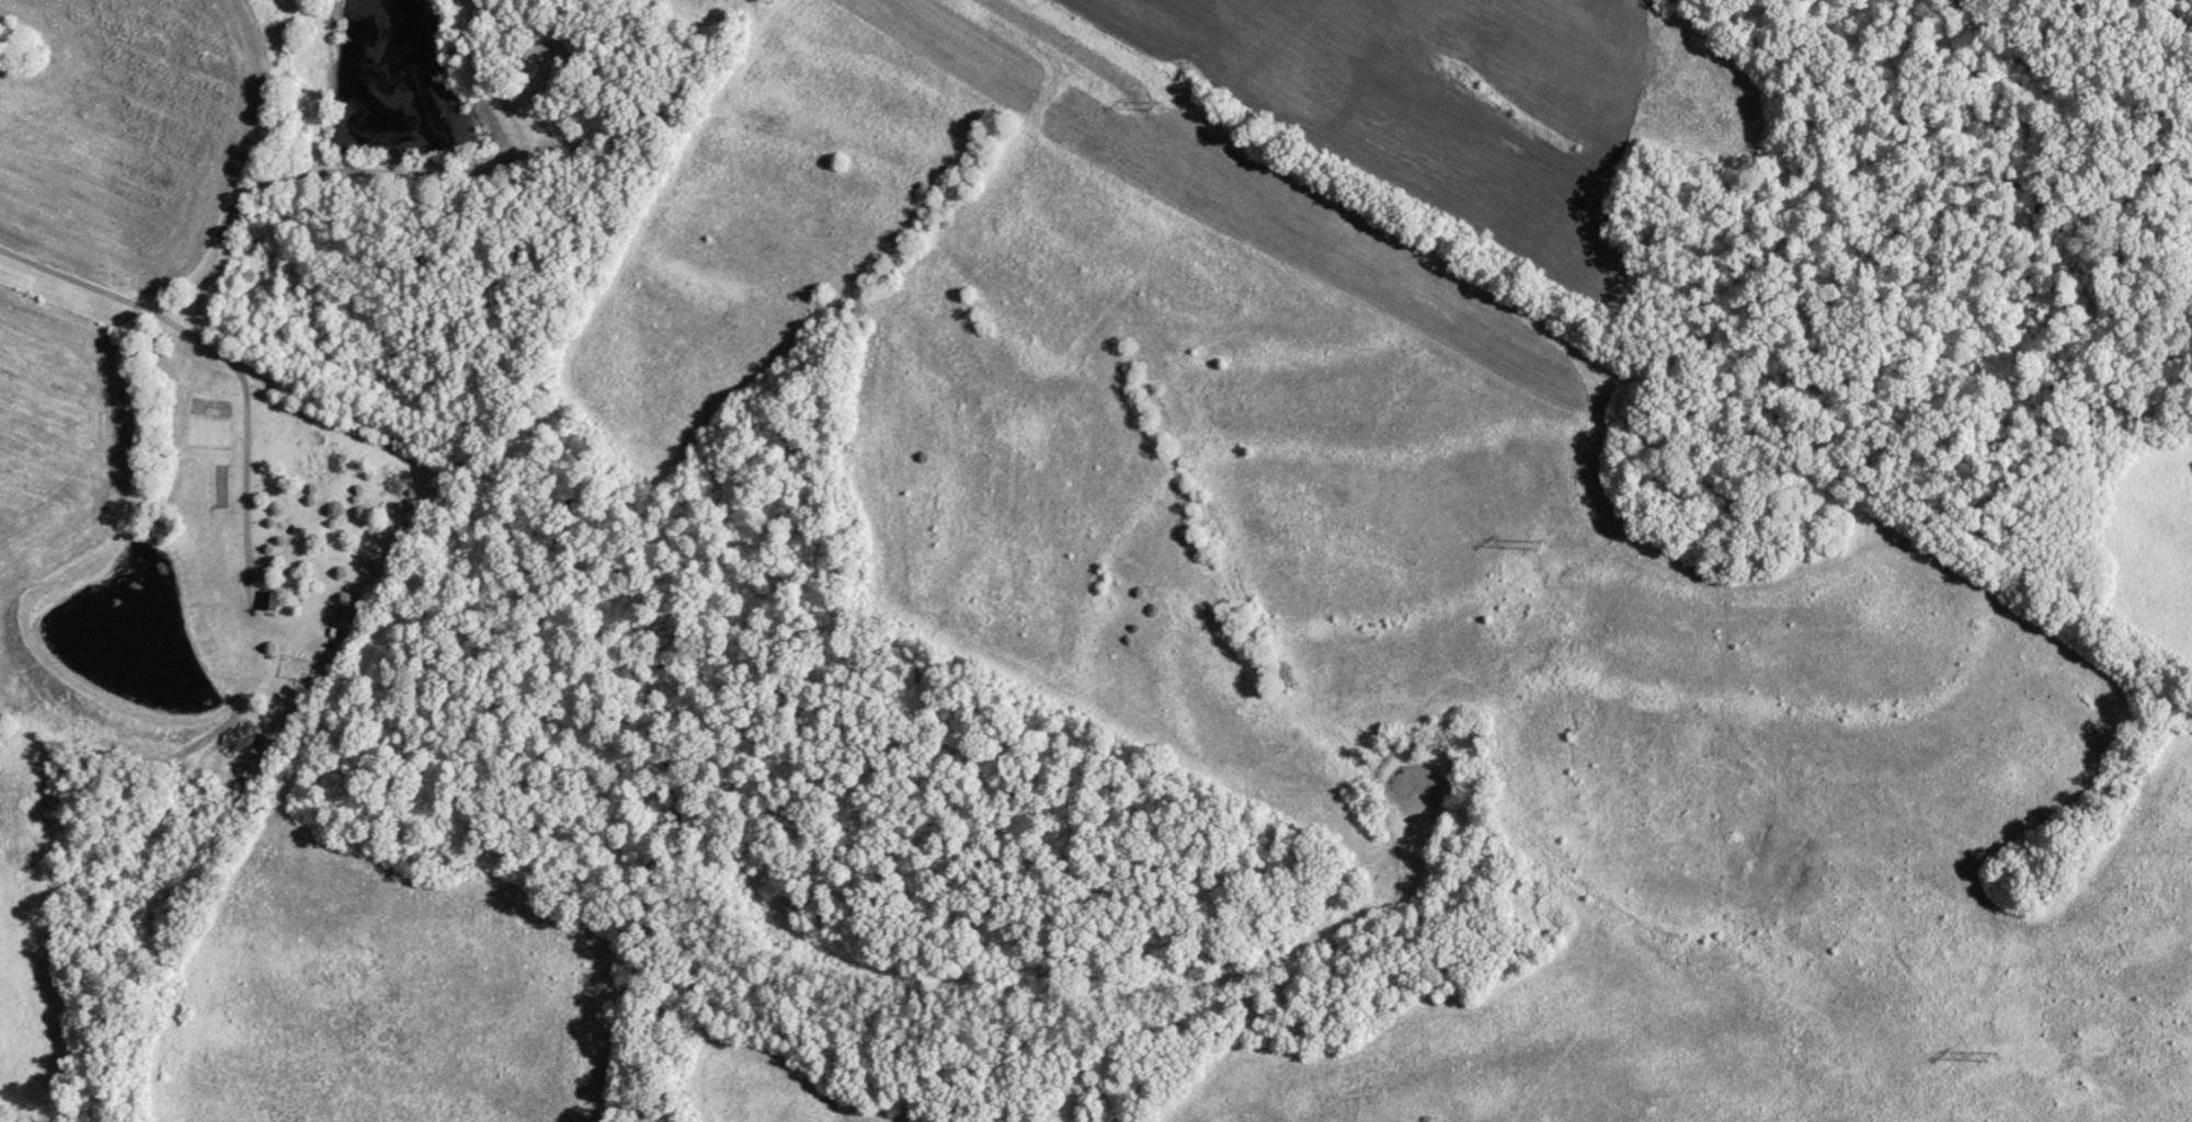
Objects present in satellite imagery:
building: (274, 600)

